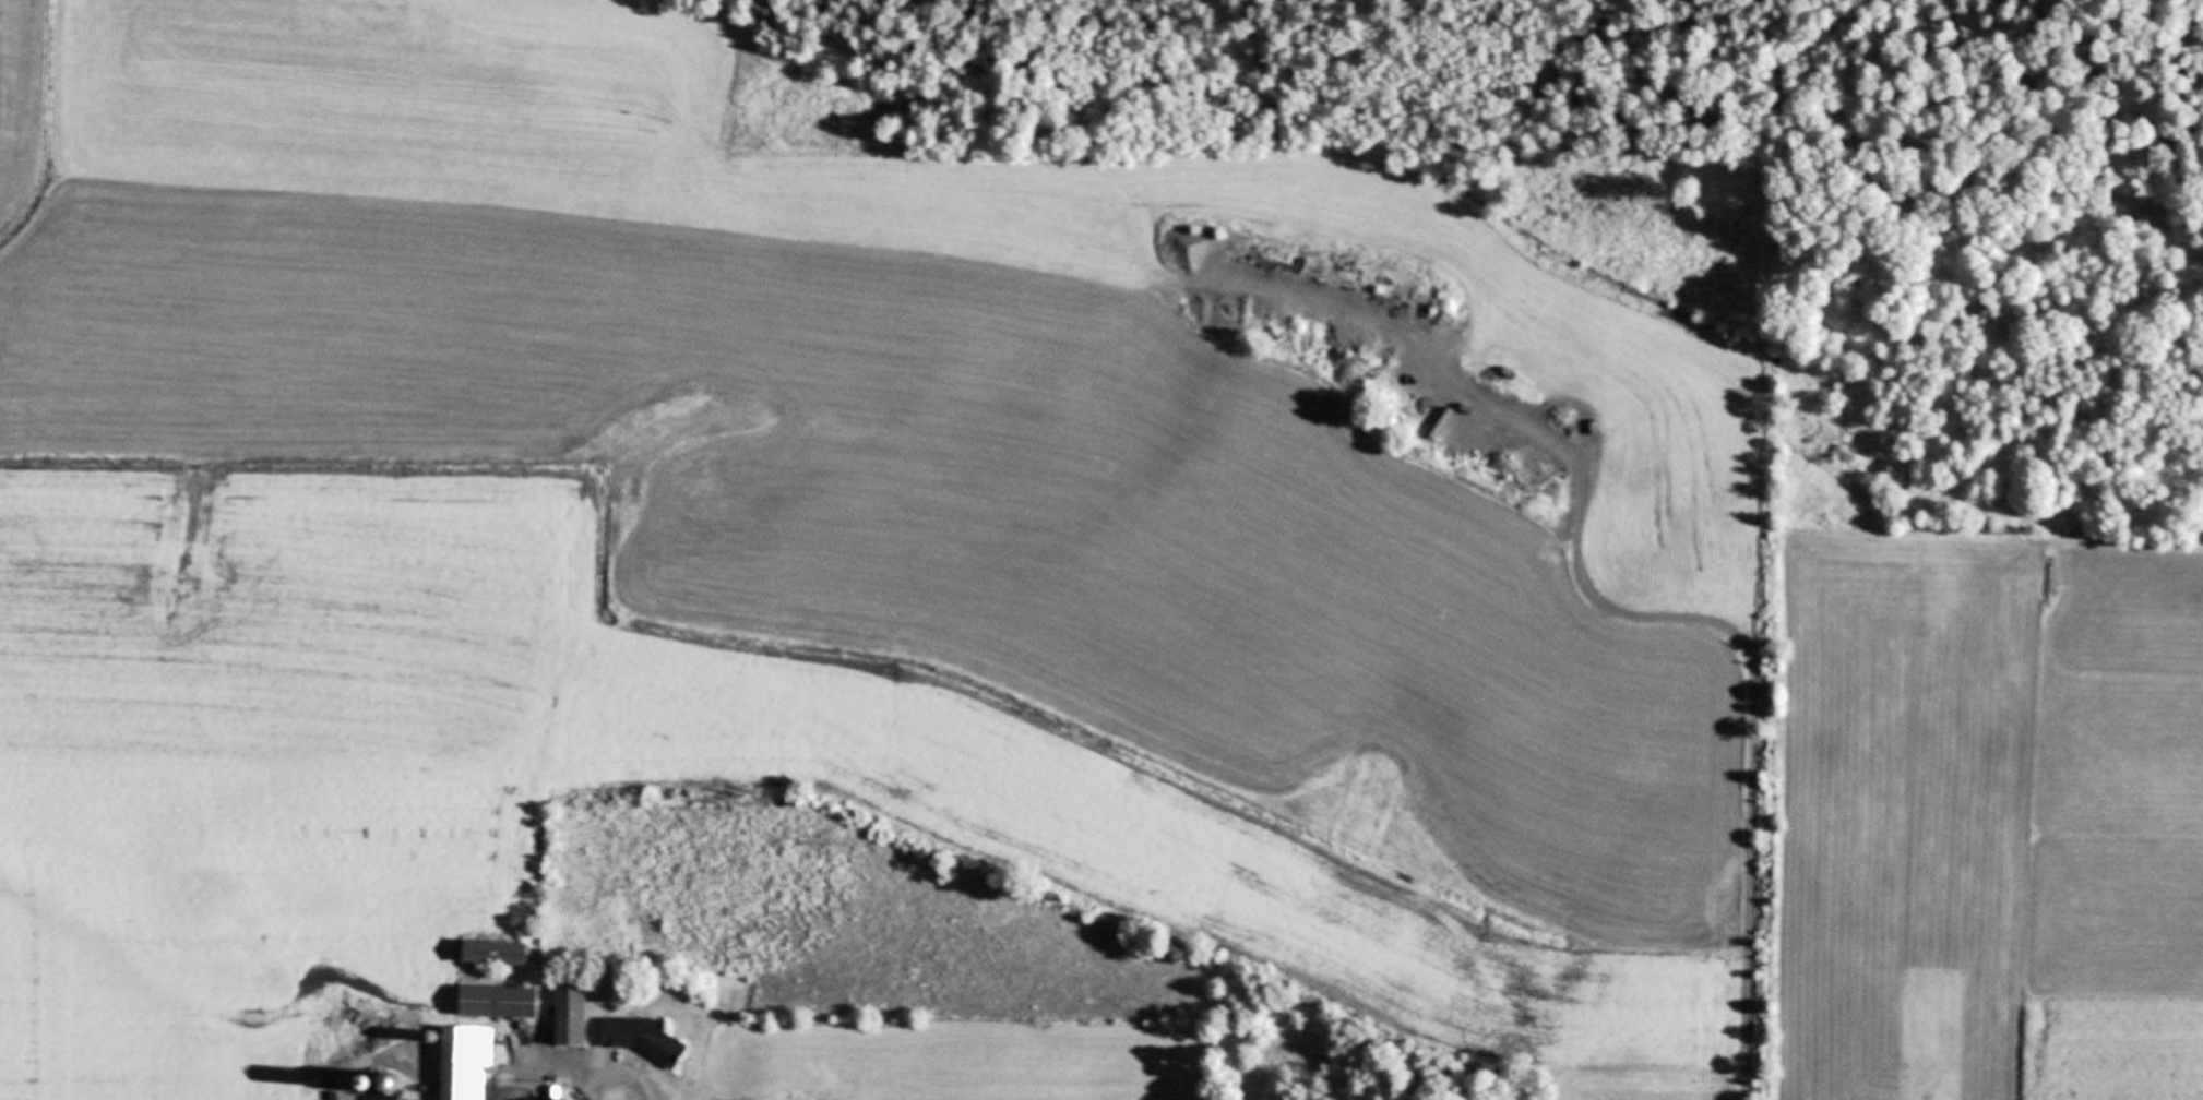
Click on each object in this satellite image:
road: (1647, 615)
building: (490, 950)
building: (496, 1000)
building: (568, 1009)
building: (635, 1036)
building: (462, 1061)
road: (562, 1066)
road: (370, 1075)
road: (622, 1075)
building: (383, 1087)

